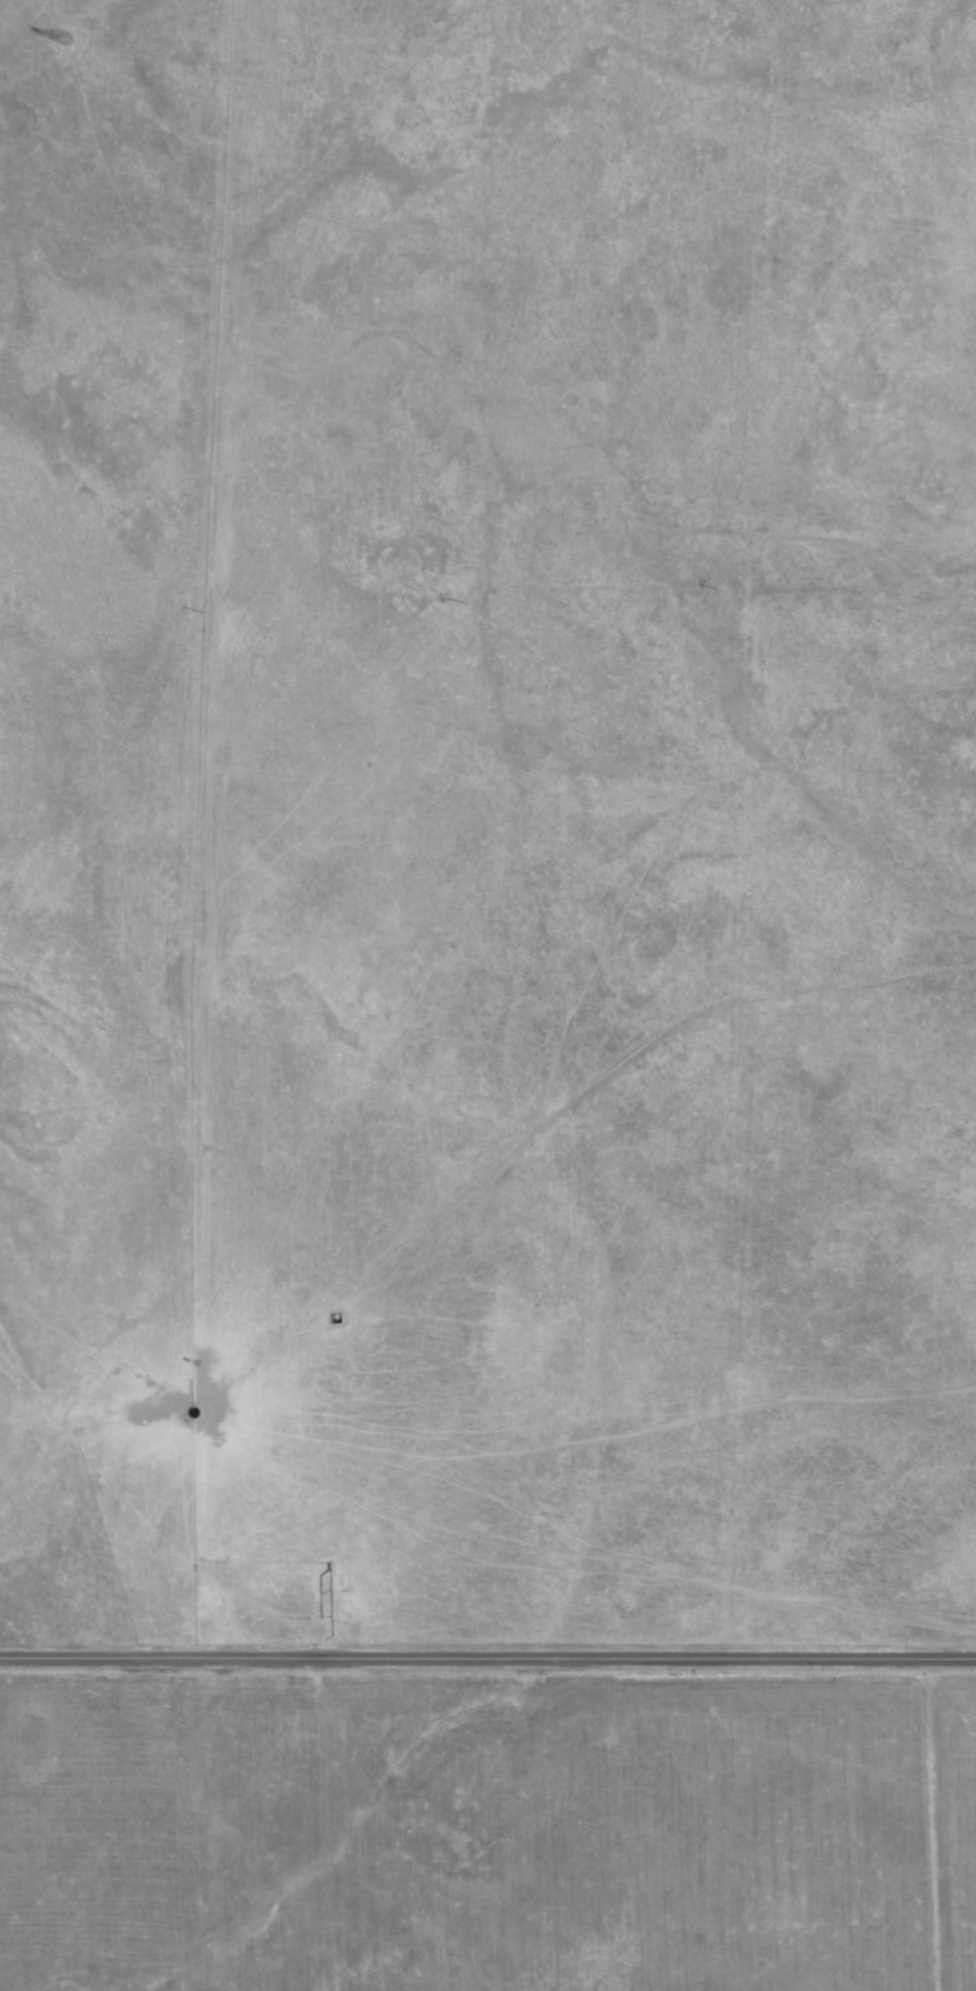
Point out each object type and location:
power tower: (64, 38)
road: (488, 1660)

